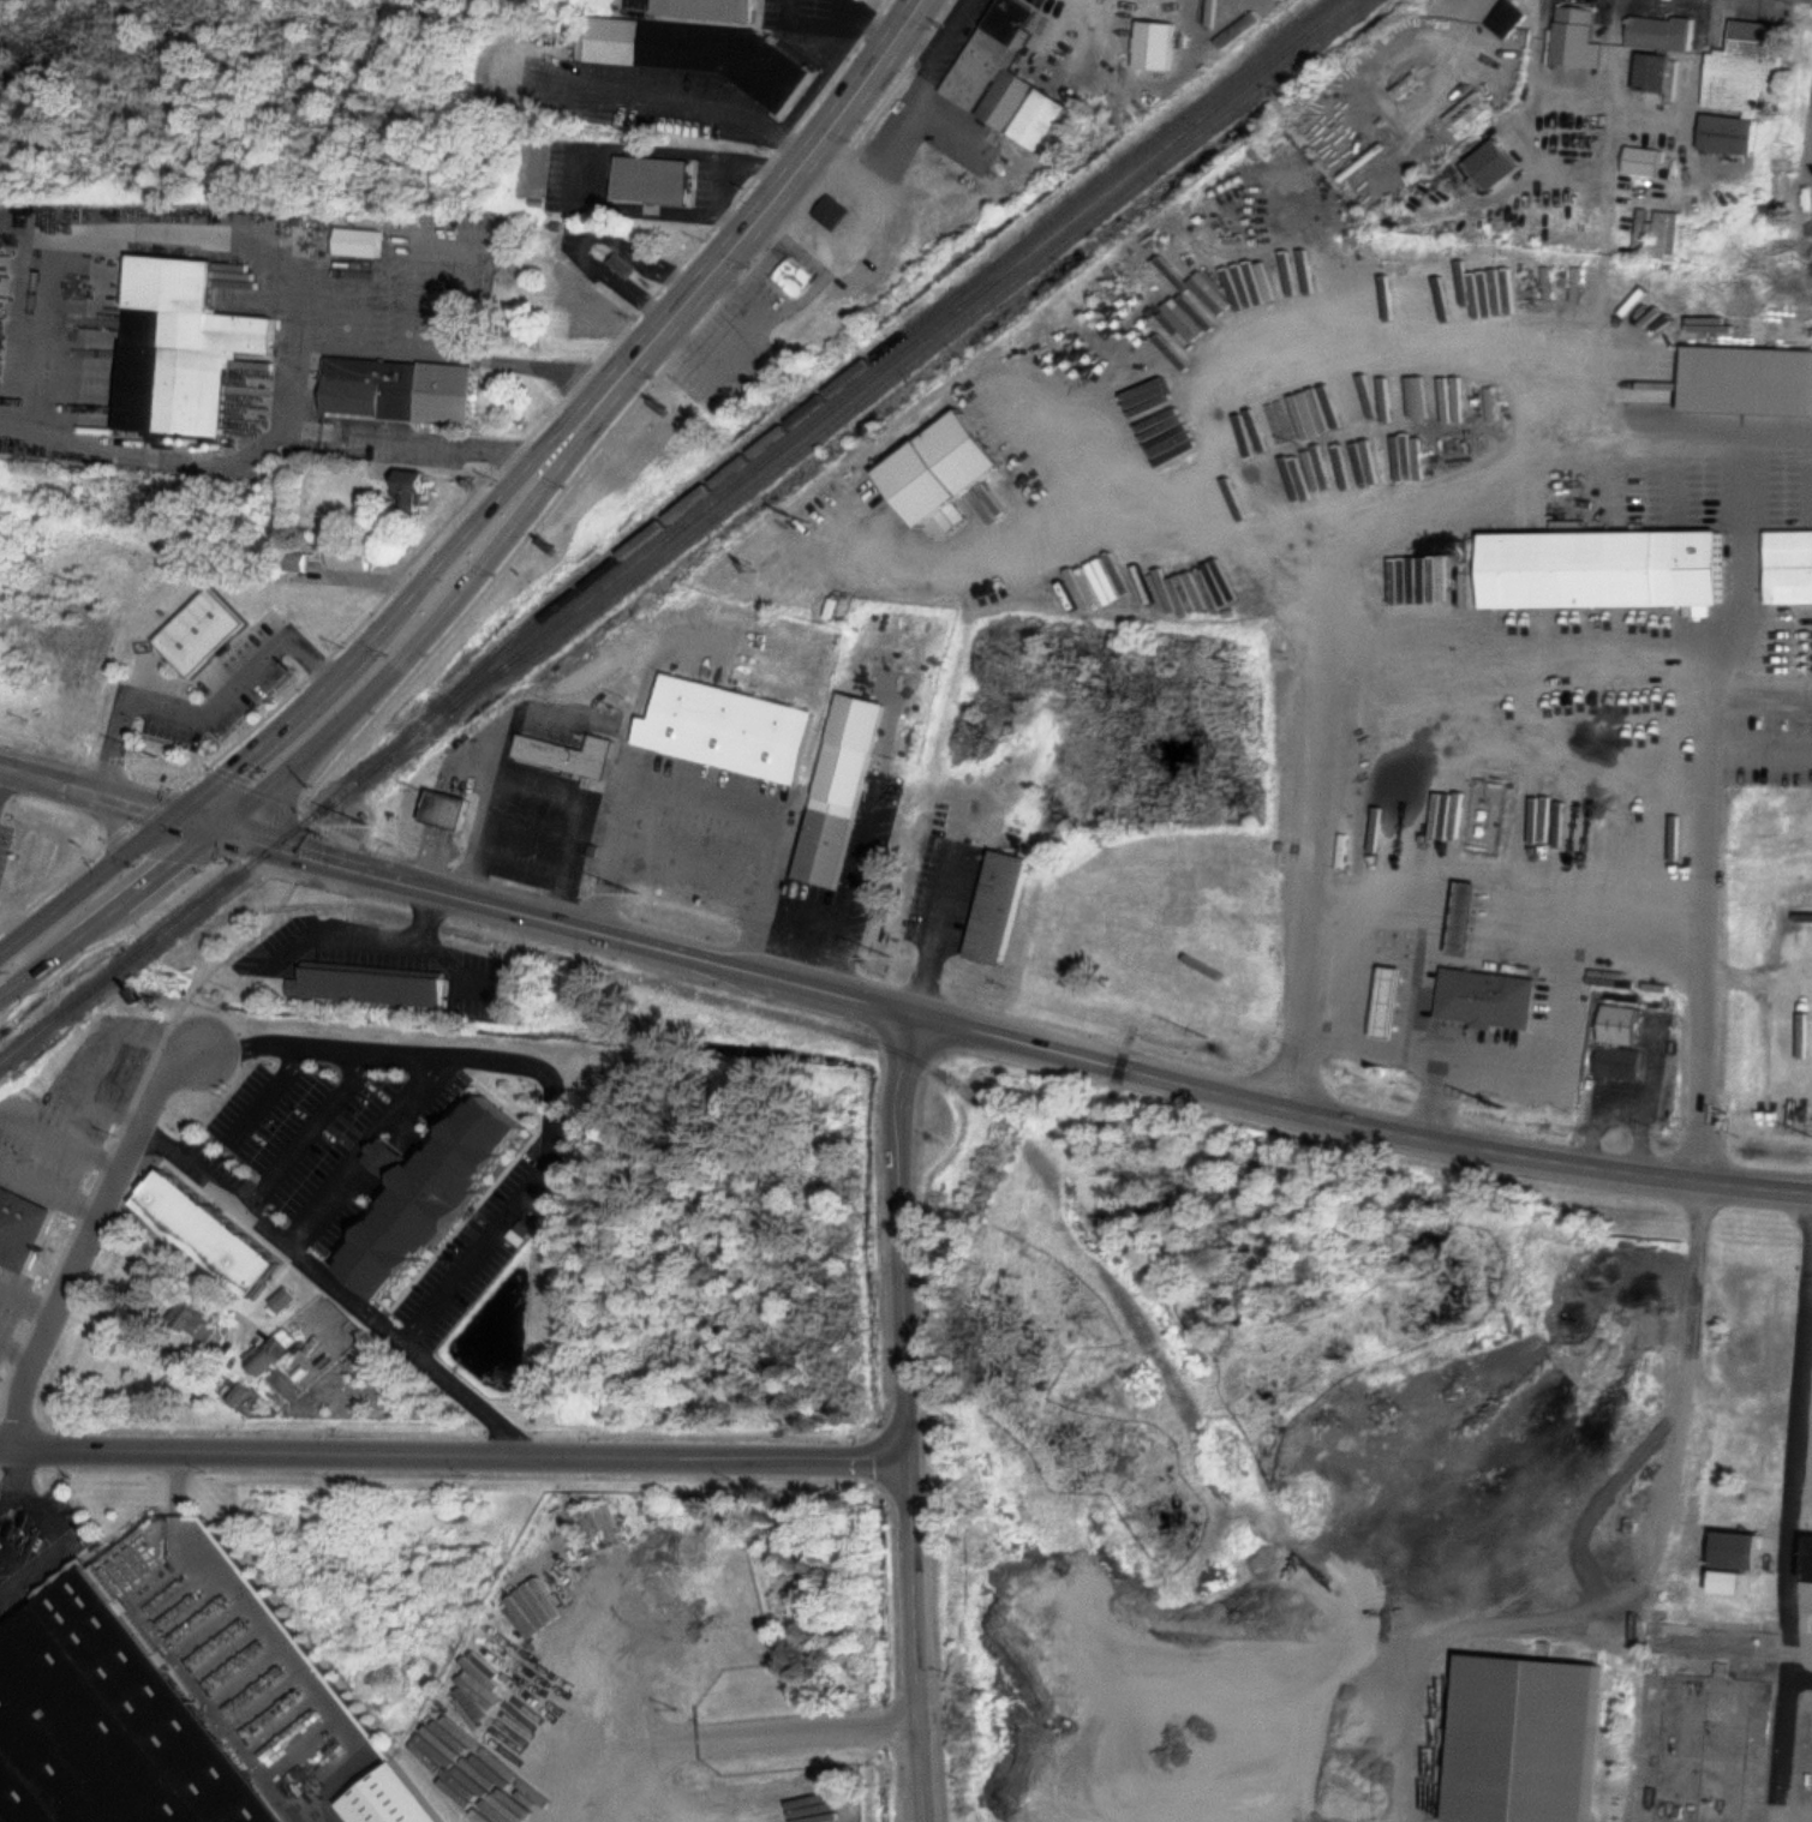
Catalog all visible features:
building: (713, 7)
building: (1508, 16)
building: (1659, 29)
road: (1069, 30)
road: (815, 31)
building: (1574, 34)
road: (938, 43)
building: (1158, 44)
road: (1608, 49)
building: (702, 53)
road: (1692, 60)
building: (1653, 68)
building: (1009, 77)
building: (1738, 82)
road: (686, 97)
building: (1470, 110)
road: (1523, 116)
road: (1807, 125)
road: (597, 156)
building: (1641, 157)
building: (1497, 161)
road: (1604, 175)
building: (654, 176)
road: (770, 202)
building: (832, 215)
road: (856, 227)
road: (163, 228)
building: (359, 239)
road: (582, 239)
building: (622, 264)
building: (797, 276)
road: (1503, 332)
road: (734, 336)
building: (181, 340)
railway: (915, 358)
railway: (856, 371)
railway: (873, 376)
building: (1750, 376)
building: (399, 385)
road: (1777, 432)
road: (271, 436)
road: (1744, 437)
building: (946, 463)
road: (1081, 466)
building: (417, 491)
building: (355, 557)
building: (1790, 561)
building: (1608, 563)
road: (1312, 586)
building: (205, 625)
road: (322, 693)
road: (1759, 693)
road: (202, 709)
road: (336, 727)
building: (732, 727)
road: (1706, 729)
road: (1759, 747)
building: (573, 750)
road: (0, 766)
building: (842, 785)
road: (533, 789)
road: (706, 795)
building: (450, 807)
traffic signals: (184, 813)
road: (109, 815)
traffic signals: (233, 826)
building: (25, 840)
road: (516, 855)
road: (689, 859)
traffic signals: (106, 871)
building: (11, 885)
road: (1443, 900)
road: (844, 903)
building: (1003, 903)
railway: (197, 907)
building: (1470, 915)
road: (934, 930)
road: (240, 948)
building: (1137, 961)
road: (1805, 970)
road: (1757, 973)
road: (1567, 981)
building: (375, 984)
building: (1488, 994)
building: (1394, 999)
road: (898, 1012)
building: (1622, 1020)
road: (1416, 1049)
road: (92, 1060)
building: (1617, 1060)
road: (269, 1091)
road: (306, 1129)
road: (59, 1139)
road: (365, 1150)
road: (49, 1183)
building: (438, 1199)
road: (504, 1217)
building: (23, 1227)
building: (214, 1228)
road: (86, 1235)
building: (286, 1297)
road: (25, 1301)
building: (209, 1324)
building: (275, 1350)
road: (14, 1353)
building: (162, 1392)
road: (465, 1402)
road: (905, 1418)
road: (453, 1455)
building: (1668, 1461)
road: (8, 1496)
road: (49, 1530)
road: (1784, 1533)
parking lot: (34, 1534)
building: (1747, 1548)
building: (1810, 1556)
road: (1619, 1577)
building: (1736, 1580)
road: (1799, 1658)
building: (114, 1724)
road: (725, 1733)
building: (1529, 1737)
building: (1656, 1742)
building: (400, 1797)

